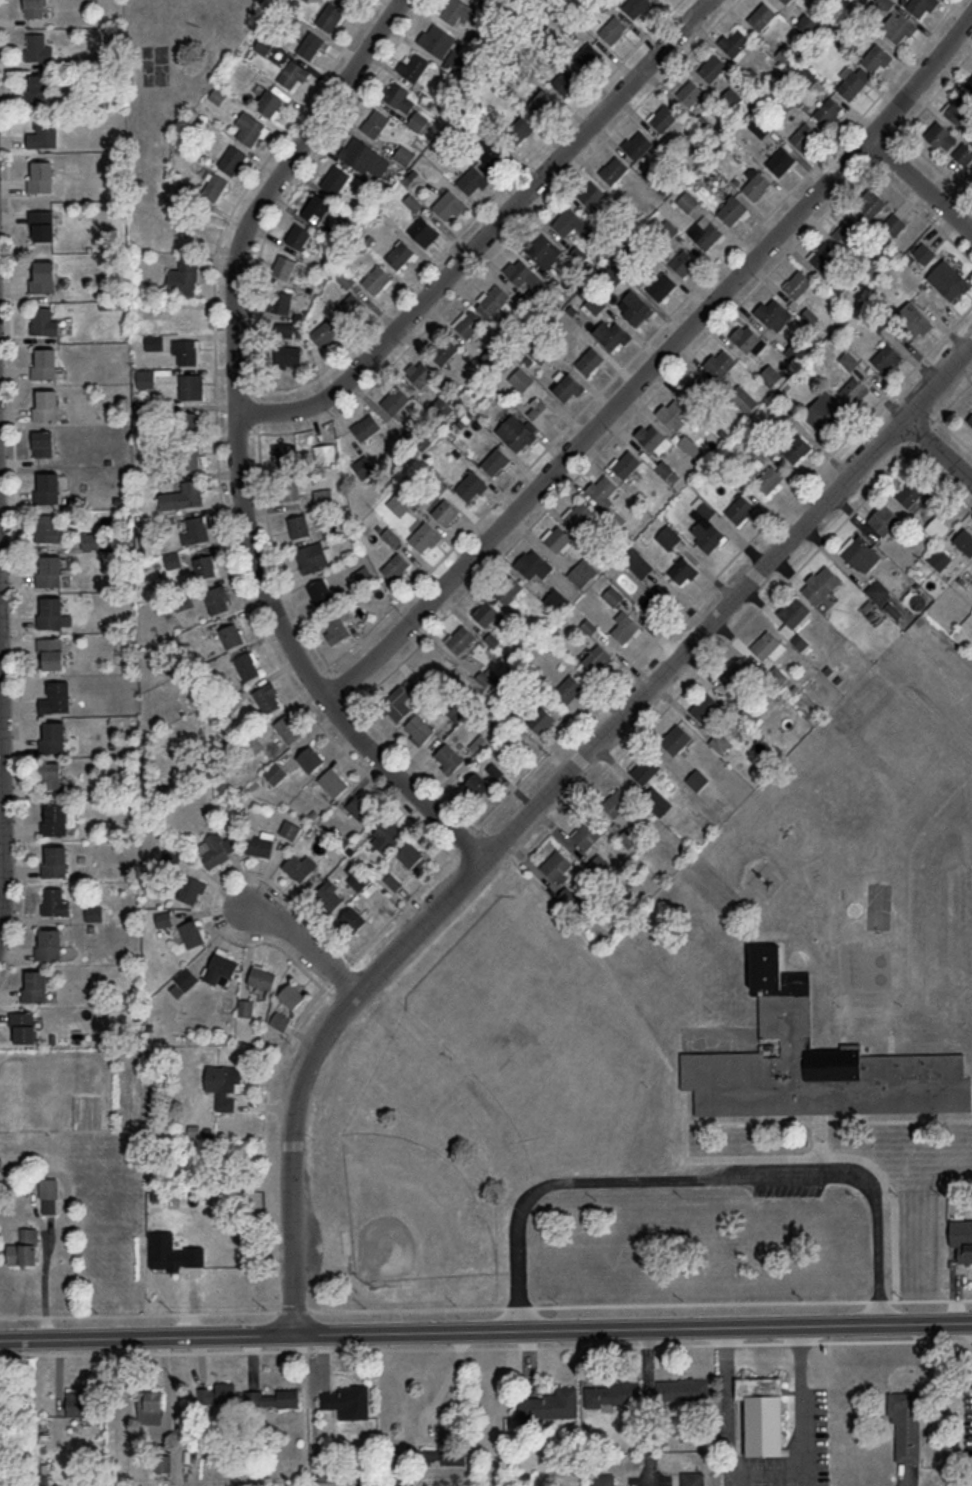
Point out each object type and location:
building: (306, 0)
building: (346, 1)
building: (786, 1)
building: (918, 5)
building: (635, 6)
building: (34, 8)
building: (457, 10)
building: (761, 15)
building: (329, 16)
building: (806, 23)
building: (898, 27)
building: (612, 28)
building: (433, 36)
building: (735, 42)
building: (263, 44)
building: (310, 45)
building: (37, 48)
building: (588, 55)
building: (874, 57)
building: (413, 65)
park: (154, 66)
building: (712, 67)
building: (291, 73)
park: (173, 74)
building: (807, 76)
building: (566, 80)
building: (969, 83)
building: (851, 85)
building: (39, 88)
building: (689, 92)
building: (399, 96)
building: (731, 97)
building: (269, 102)
building: (541, 102)
building: (827, 110)
building: (958, 110)
building: (663, 117)
building: (374, 122)
building: (419, 122)
building: (759, 126)
building: (249, 127)
building: (518, 128)
building: (43, 133)
building: (803, 135)
building: (947, 141)
building: (638, 145)
building: (404, 154)
building: (492, 154)
building: (364, 156)
building: (231, 158)
building: (780, 160)
building: (614, 168)
road: (935, 168)
building: (41, 176)
building: (335, 178)
building: (471, 178)
road: (297, 184)
road: (921, 184)
building: (756, 185)
building: (215, 186)
building: (591, 194)
building: (687, 201)
building: (446, 203)
building: (317, 205)
building: (871, 205)
building: (731, 209)
road: (922, 211)
road: (474, 215)
building: (567, 221)
building: (42, 223)
building: (894, 223)
building: (331, 230)
building: (846, 230)
building: (423, 231)
road: (490, 234)
building: (708, 234)
building: (298, 235)
road: (506, 242)
building: (540, 247)
building: (924, 252)
building: (400, 255)
building: (823, 255)
building: (683, 261)
building: (284, 267)
building: (518, 271)
building: (614, 274)
building: (43, 276)
building: (183, 276)
building: (376, 278)
building: (949, 278)
building: (797, 283)
building: (662, 286)
building: (494, 298)
building: (280, 301)
building: (351, 304)
building: (593, 305)
building: (637, 311)
building: (772, 311)
building: (43, 321)
building: (915, 323)
building: (470, 324)
building: (325, 332)
building: (611, 334)
building: (748, 339)
building: (154, 341)
road: (645, 343)
building: (185, 351)
building: (443, 351)
building: (288, 355)
building: (885, 357)
building: (849, 359)
building: (589, 360)
building: (45, 362)
road: (658, 364)
building: (721, 364)
building: (419, 372)
building: (772, 373)
building: (145, 378)
building: (521, 379)
road: (665, 382)
building: (567, 385)
building: (191, 386)
building: (697, 389)
building: (852, 389)
road: (242, 391)
building: (743, 398)
building: (394, 400)
building: (46, 404)
road: (257, 410)
building: (541, 412)
building: (672, 412)
building: (820, 413)
building: (969, 418)
building: (188, 422)
building: (365, 426)
road: (242, 432)
road: (955, 434)
building: (519, 436)
building: (653, 438)
building: (43, 442)
road: (216, 442)
road: (237, 446)
road: (940, 446)
building: (796, 448)
building: (326, 449)
building: (760, 450)
building: (287, 455)
building: (190, 457)
building: (495, 460)
building: (627, 463)
building: (363, 466)
road: (941, 478)
building: (769, 479)
building: (470, 485)
building: (47, 486)
building: (288, 487)
building: (603, 488)
building: (909, 492)
building: (182, 495)
road: (15, 496)
building: (399, 502)
building: (739, 508)
building: (445, 512)
building: (579, 512)
building: (883, 519)
building: (299, 526)
building: (937, 527)
building: (47, 528)
building: (195, 530)
building: (424, 535)
building: (390, 536)
building: (668, 536)
building: (710, 537)
building: (558, 538)
building: (964, 540)
road: (276, 553)
building: (859, 553)
building: (314, 556)
building: (938, 558)
building: (172, 559)
building: (637, 562)
building: (533, 563)
building: (205, 566)
building: (395, 566)
building: (49, 570)
building: (682, 570)
building: (582, 572)
road: (715, 576)
building: (822, 579)
building: (508, 588)
building: (320, 591)
building: (878, 591)
building: (613, 595)
building: (217, 598)
building: (556, 599)
building: (655, 599)
building: (793, 611)
building: (50, 612)
building: (485, 612)
road: (744, 624)
building: (338, 626)
building: (625, 628)
building: (231, 635)
building: (460, 638)
building: (765, 644)
building: (50, 651)
building: (596, 657)
building: (247, 665)
road: (316, 675)
building: (737, 677)
road: (340, 683)
building: (568, 687)
building: (55, 696)
building: (268, 697)
building: (397, 702)
building: (704, 707)
road: (343, 709)
building: (754, 709)
building: (541, 720)
building: (287, 728)
building: (418, 729)
building: (53, 736)
building: (676, 738)
building: (481, 745)
building: (310, 757)
building: (448, 758)
road: (422, 769)
building: (645, 769)
building: (275, 772)
building: (50, 775)
building: (697, 779)
building: (333, 781)
building: (477, 783)
road: (543, 798)
building: (616, 801)
building: (657, 801)
building: (361, 807)
building: (55, 819)
building: (289, 829)
building: (586, 834)
building: (387, 835)
building: (628, 837)
building: (261, 843)
road: (505, 846)
road: (2, 848)
building: (216, 848)
building: (412, 856)
building: (55, 861)
building: (555, 865)
building: (300, 866)
road: (252, 871)
flagpole: (768, 881)
building: (191, 889)
building: (329, 894)
building: (54, 901)
building: (94, 912)
building: (164, 918)
building: (356, 920)
building: (192, 933)
road: (309, 940)
building: (49, 943)
building: (221, 967)
building: (261, 976)
building: (182, 981)
building: (36, 985)
building: (291, 995)
building: (246, 1007)
building: (281, 1020)
building: (24, 1025)
building: (814, 1061)
building: (224, 1083)
park: (474, 1095)
road: (828, 1121)
road: (820, 1133)
road: (685, 1138)
road: (702, 1177)
building: (49, 1194)
park: (412, 1211)
building: (961, 1230)
building: (25, 1247)
building: (166, 1258)
road: (45, 1273)
road: (930, 1299)
road: (879, 1300)
road: (434, 1309)
road: (485, 1327)
road: (969, 1339)
road: (893, 1340)
road: (763, 1342)
road: (803, 1342)
road: (727, 1343)
road: (694, 1344)
road: (658, 1345)
road: (320, 1349)
road: (446, 1379)
building: (683, 1389)
building: (218, 1392)
building: (612, 1392)
building: (272, 1398)
road: (649, 1399)
building: (348, 1401)
building: (79, 1403)
building: (553, 1403)
building: (150, 1405)
building: (762, 1414)
building: (906, 1424)
building: (444, 1456)
building: (162, 1462)
road: (765, 1474)
building: (692, 1478)
building: (327, 1479)
building: (602, 1479)
road: (651, 1480)
road: (743, 1480)
road: (780, 1480)
road: (807, 1480)

